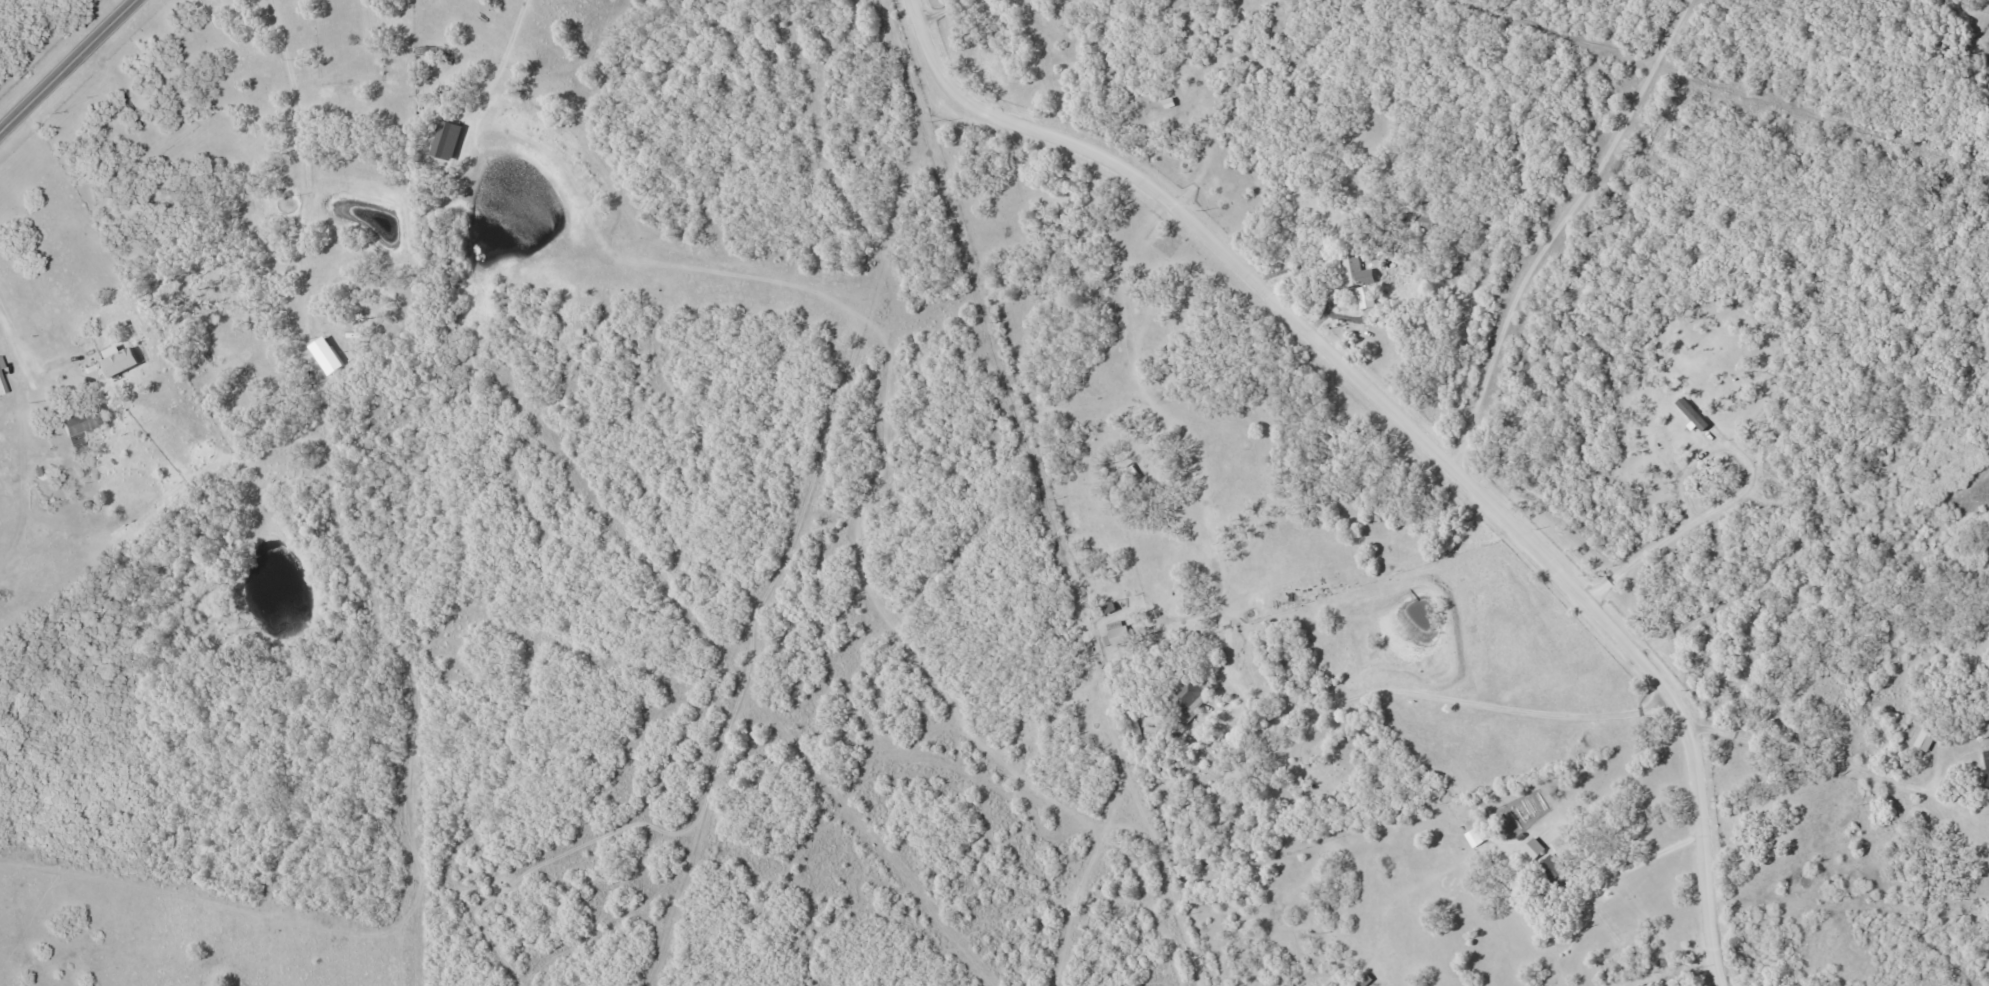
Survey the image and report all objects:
building: (427, 51)
road: (70, 68)
building: (133, 109)
road: (307, 164)
building: (1422, 219)
building: (1354, 270)
building: (1365, 297)
building: (340, 328)
road: (15, 340)
building: (1, 365)
building: (2, 386)
road: (1415, 424)
building: (81, 427)
building: (1117, 633)
building: (1185, 697)
road: (1450, 700)
building: (1924, 738)
road: (1805, 753)
building: (1986, 774)
building: (1485, 832)
building: (1534, 850)
building: (1555, 871)

